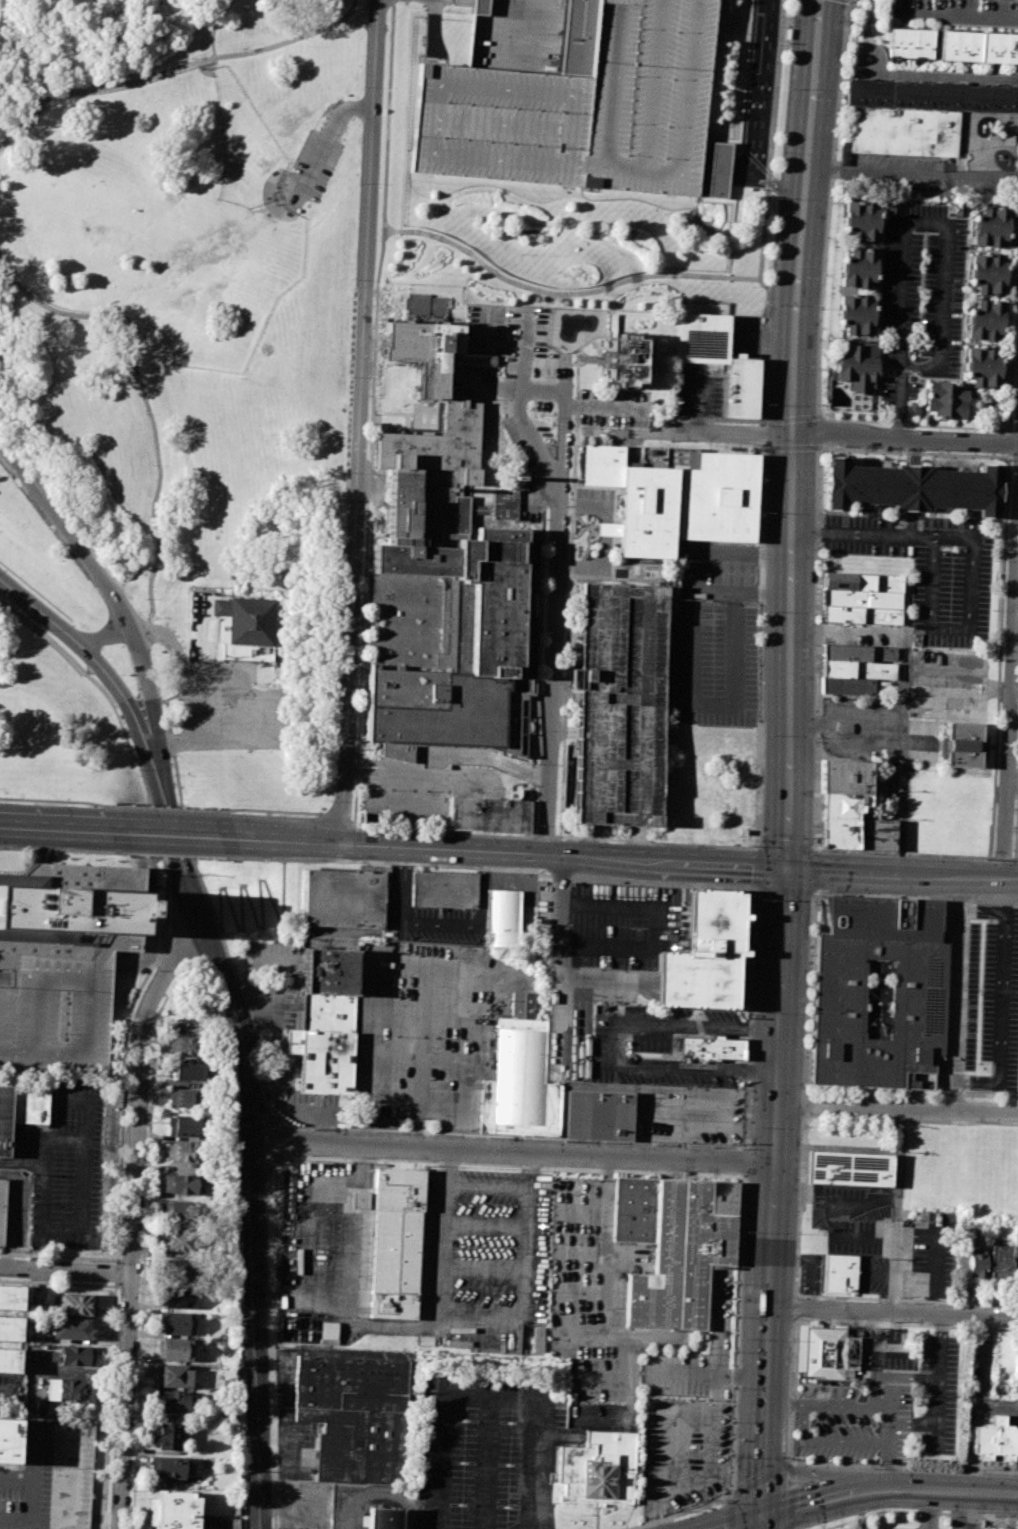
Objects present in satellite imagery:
road: (957, 11)
street lamp: (340, 12)
parking lot: (953, 12)
road: (214, 27)
street lamp: (293, 31)
building: (910, 41)
building: (978, 44)
street lamp: (242, 47)
street lamp: (191, 59)
road: (176, 68)
street lamp: (141, 73)
road: (747, 74)
building: (616, 84)
street lamp: (89, 85)
street lamp: (361, 86)
street lamp: (838, 90)
street lamp: (787, 92)
building: (931, 93)
road: (774, 95)
street lamp: (37, 100)
road: (388, 115)
building: (903, 129)
road: (326, 136)
street lamp: (0, 137)
road: (440, 143)
road: (754, 159)
parking lot: (314, 165)
road: (766, 172)
road: (891, 173)
road: (997, 177)
road: (1017, 178)
street lamp: (357, 183)
street lamp: (777, 198)
street lamp: (829, 200)
road: (829, 206)
street lamp: (470, 214)
building: (860, 218)
road: (911, 222)
building: (990, 223)
street lamp: (664, 234)
street lamp: (394, 236)
street lamp: (434, 241)
street lamp: (620, 252)
street lamp: (522, 253)
street lamp: (554, 255)
street lamp: (478, 264)
building: (858, 265)
building: (987, 272)
street lamp: (353, 276)
road: (721, 278)
street lamp: (653, 280)
street lamp: (702, 281)
street lamp: (4, 282)
street lamp: (752, 286)
street lamp: (513, 287)
street lamp: (1017, 287)
street lamp: (606, 292)
street lamp: (554, 297)
street lamp: (768, 304)
street lamp: (819, 308)
street lamp: (549, 310)
building: (856, 312)
street lamp: (46, 316)
building: (985, 318)
building: (612, 324)
parking lot: (486, 328)
road: (545, 335)
building: (427, 345)
parking lot: (529, 349)
road: (526, 351)
road: (577, 353)
road: (593, 359)
building: (626, 359)
building: (720, 359)
road: (484, 362)
street lamp: (127, 364)
road: (561, 364)
building: (982, 364)
building: (858, 365)
street lamp: (348, 374)
road: (479, 380)
street lamp: (1013, 385)
road: (465, 388)
building: (946, 397)
park: (176, 398)
street lamp: (764, 403)
street lamp: (817, 405)
road: (146, 406)
road: (605, 406)
parking lot: (615, 407)
street lamp: (530, 414)
street lamp: (143, 415)
street lamp: (556, 417)
road: (792, 418)
road: (710, 419)
road: (358, 422)
road: (522, 422)
road: (922, 425)
road: (726, 432)
road: (903, 438)
road: (518, 439)
road: (563, 441)
road: (792, 446)
road: (486, 448)
road: (916, 451)
road: (1015, 456)
street lamp: (153, 464)
street lamp: (345, 470)
street lamp: (570, 481)
building: (909, 487)
road: (532, 499)
building: (675, 500)
street lamp: (148, 516)
road: (762, 517)
street lamp: (198, 528)
road: (365, 528)
street lamp: (547, 541)
road: (1017, 544)
road: (972, 554)
street lamp: (148, 567)
parking lot: (928, 569)
street lamp: (341, 570)
road: (99, 576)
building: (863, 582)
road: (1015, 585)
building: (442, 594)
road: (570, 597)
street lamp: (146, 598)
building: (862, 598)
building: (862, 614)
road: (42, 615)
building: (249, 621)
street lamp: (621, 623)
road: (817, 631)
street lamp: (543, 632)
road: (107, 636)
building: (858, 655)
parking lot: (712, 664)
road: (537, 667)
building: (843, 670)
road: (554, 673)
street lamp: (336, 676)
road: (195, 683)
parking lot: (948, 685)
building: (844, 687)
road: (120, 689)
road: (163, 699)
road: (241, 704)
building: (622, 704)
parking garage: (622, 704)
road: (141, 707)
street lamp: (615, 707)
parking lot: (231, 711)
road: (120, 716)
road: (903, 726)
street lamp: (539, 731)
parking lot: (863, 735)
parking lot: (924, 742)
building: (964, 744)
street lamp: (334, 746)
building: (395, 751)
railway: (773, 764)
road: (784, 764)
railway: (802, 764)
road: (1009, 767)
building: (844, 774)
road: (1013, 774)
road: (447, 777)
road: (1013, 786)
street lamp: (390, 788)
street lamp: (425, 790)
road: (57, 799)
street lamp: (329, 800)
building: (842, 803)
road: (170, 807)
road: (180, 809)
road: (274, 810)
street lamp: (279, 813)
building: (490, 814)
road: (336, 820)
road: (174, 826)
street lamp: (362, 827)
street lamp: (536, 827)
road: (58, 829)
road: (442, 832)
building: (839, 832)
building: (875, 833)
road: (175, 834)
street lamp: (761, 834)
street lamp: (464, 835)
road: (544, 836)
street lamp: (566, 839)
road: (288, 840)
road: (656, 841)
street lamp: (815, 841)
street lamp: (661, 844)
street lamp: (747, 845)
road: (58, 849)
street lamp: (832, 851)
road: (505, 853)
street lamp: (873, 853)
road: (904, 853)
road: (178, 855)
street lamp: (906, 855)
street lamp: (941, 856)
road: (1002, 857)
street lamp: (975, 858)
road: (1015, 858)
road: (262, 859)
street lamp: (280, 862)
road: (726, 864)
traffic signals: (783, 867)
flagpole: (418, 868)
road: (522, 869)
road: (878, 871)
road: (996, 877)
building: (444, 889)
road: (757, 890)
street lamp: (827, 891)
street lamp: (866, 893)
street lamp: (904, 895)
road: (916, 896)
building: (345, 897)
street lamp: (758, 898)
street lamp: (812, 904)
road: (165, 907)
parking lot: (430, 915)
road: (253, 916)
building: (501, 918)
street lamp: (811, 922)
road: (438, 925)
road: (676, 926)
parking lot: (603, 953)
street lamp: (810, 954)
building: (705, 956)
road: (435, 966)
building: (56, 971)
parking garage: (56, 971)
road: (569, 981)
road: (612, 981)
road: (958, 992)
building: (920, 995)
road: (1003, 997)
parking lot: (991, 1000)
street lamp: (753, 1011)
street lamp: (807, 1013)
road: (417, 1016)
road: (751, 1019)
building: (325, 1022)
road: (718, 1025)
parking lot: (428, 1033)
building: (187, 1046)
parking lot: (649, 1048)
building: (709, 1048)
street lamp: (806, 1050)
road: (421, 1056)
road: (424, 1058)
road: (641, 1061)
road: (650, 1069)
building: (190, 1072)
building: (518, 1077)
road: (415, 1097)
building: (184, 1098)
road: (679, 1103)
road: (896, 1106)
building: (597, 1115)
parking lot: (689, 1115)
building: (4, 1118)
building: (184, 1126)
road: (410, 1132)
road: (54, 1139)
building: (183, 1150)
road: (512, 1150)
road: (325, 1156)
road: (744, 1163)
parking lot: (64, 1165)
building: (848, 1168)
building: (180, 1184)
road: (487, 1186)
road: (310, 1198)
building: (358, 1200)
building: (2, 1206)
road: (898, 1209)
building: (182, 1211)
road: (16, 1214)
road: (135, 1216)
road: (253, 1219)
road: (83, 1223)
road: (485, 1225)
road: (444, 1236)
building: (180, 1241)
building: (396, 1243)
building: (675, 1246)
road: (145, 1254)
parking lot: (320, 1255)
road: (58, 1256)
building: (1001, 1260)
parking lot: (487, 1261)
building: (975, 1267)
road: (350, 1268)
road: (483, 1268)
building: (1017, 1269)
road: (66, 1271)
building: (177, 1271)
road: (116, 1272)
building: (840, 1274)
road: (58, 1283)
road: (116, 1284)
parking lot: (591, 1289)
building: (11, 1296)
building: (175, 1297)
building: (78, 1304)
road: (853, 1308)
parking lot: (720, 1309)
road: (606, 1311)
road: (979, 1314)
building: (174, 1322)
road: (471, 1325)
building: (10, 1328)
building: (71, 1329)
building: (328, 1333)
road: (736, 1337)
building: (174, 1350)
building: (828, 1354)
building: (76, 1356)
building: (10, 1360)
road: (876, 1363)
building: (173, 1376)
road: (706, 1376)
road: (907, 1377)
road: (937, 1381)
parking lot: (9, 1387)
building: (66, 1389)
road: (7, 1391)
road: (486, 1398)
building: (173, 1402)
road: (785, 1403)
road: (110, 1407)
road: (995, 1408)
road: (888, 1414)
building: (354, 1415)
road: (803, 1421)
road: (912, 1422)
building: (167, 1436)
building: (995, 1439)
building: (9, 1441)
parking lot: (489, 1450)
parking lot: (684, 1454)
road: (711, 1456)
street lamp: (734, 1457)
street lamp: (792, 1457)
road: (485, 1464)
road: (861, 1465)
building: (170, 1466)
road: (887, 1466)
road: (32, 1467)
building: (596, 1469)
road: (775, 1470)
street lamp: (980, 1470)
road: (819, 1474)
parking lot: (49, 1477)
road: (883, 1490)
road: (908, 1491)
road: (974, 1493)
road: (378, 1496)
road: (818, 1499)
parking lot: (359, 1504)
street lamp: (720, 1504)
building: (173, 1510)
road: (930, 1510)
street lamp: (872, 1511)
road: (31, 1512)
street lamp: (978, 1512)
road: (880, 1513)
road: (945, 1513)
road: (677, 1514)
road: (982, 1515)
traffic signals: (759, 1516)
road: (1011, 1516)
building: (383, 1518)
road: (737, 1522)
street lamp: (1017, 1522)
road: (860, 1524)
road: (531, 1526)
road: (540, 1526)
building: (853, 1528)
building: (991, 1528)

